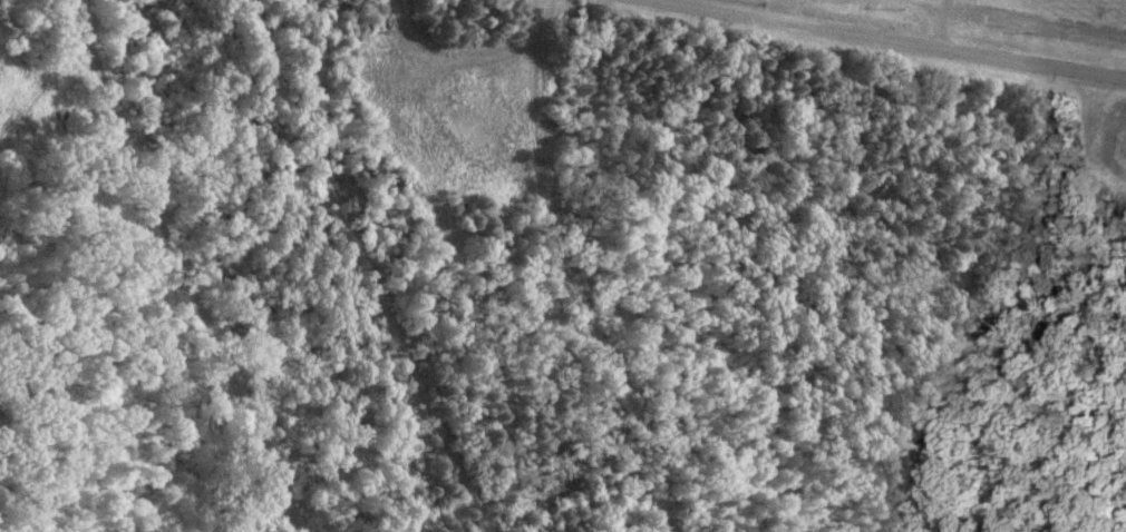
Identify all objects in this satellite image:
road: (778, 9)
road: (903, 41)
road: (186, 267)
road: (358, 267)
road: (566, 273)

